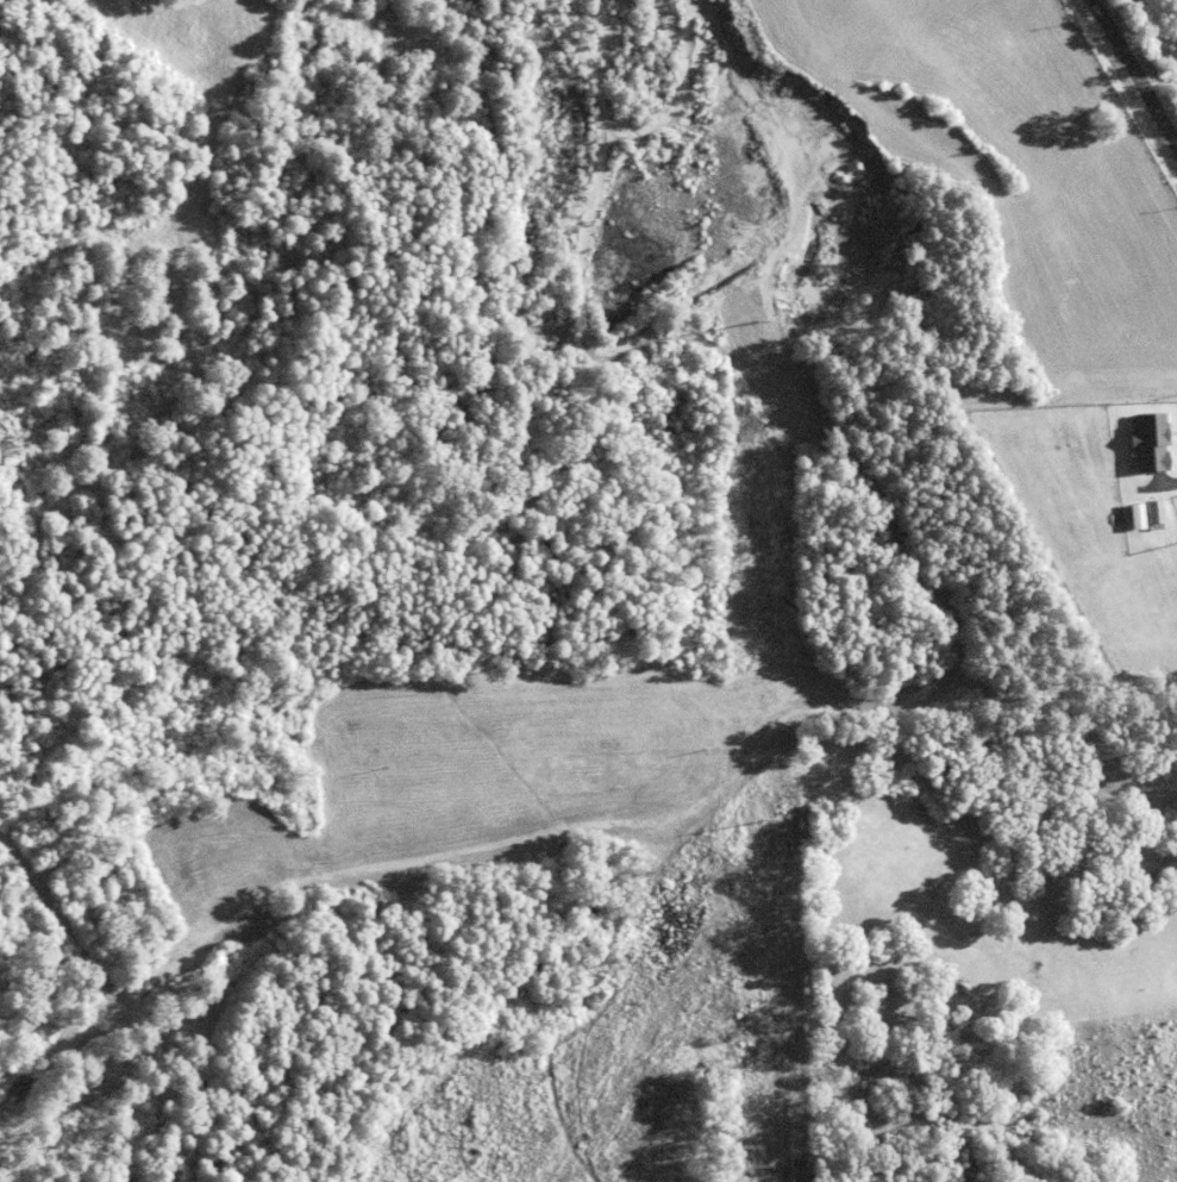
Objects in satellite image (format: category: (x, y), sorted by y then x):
road: (1133, 74)
building: (1147, 381)
building: (1151, 440)
building: (1152, 511)
building: (1133, 515)

